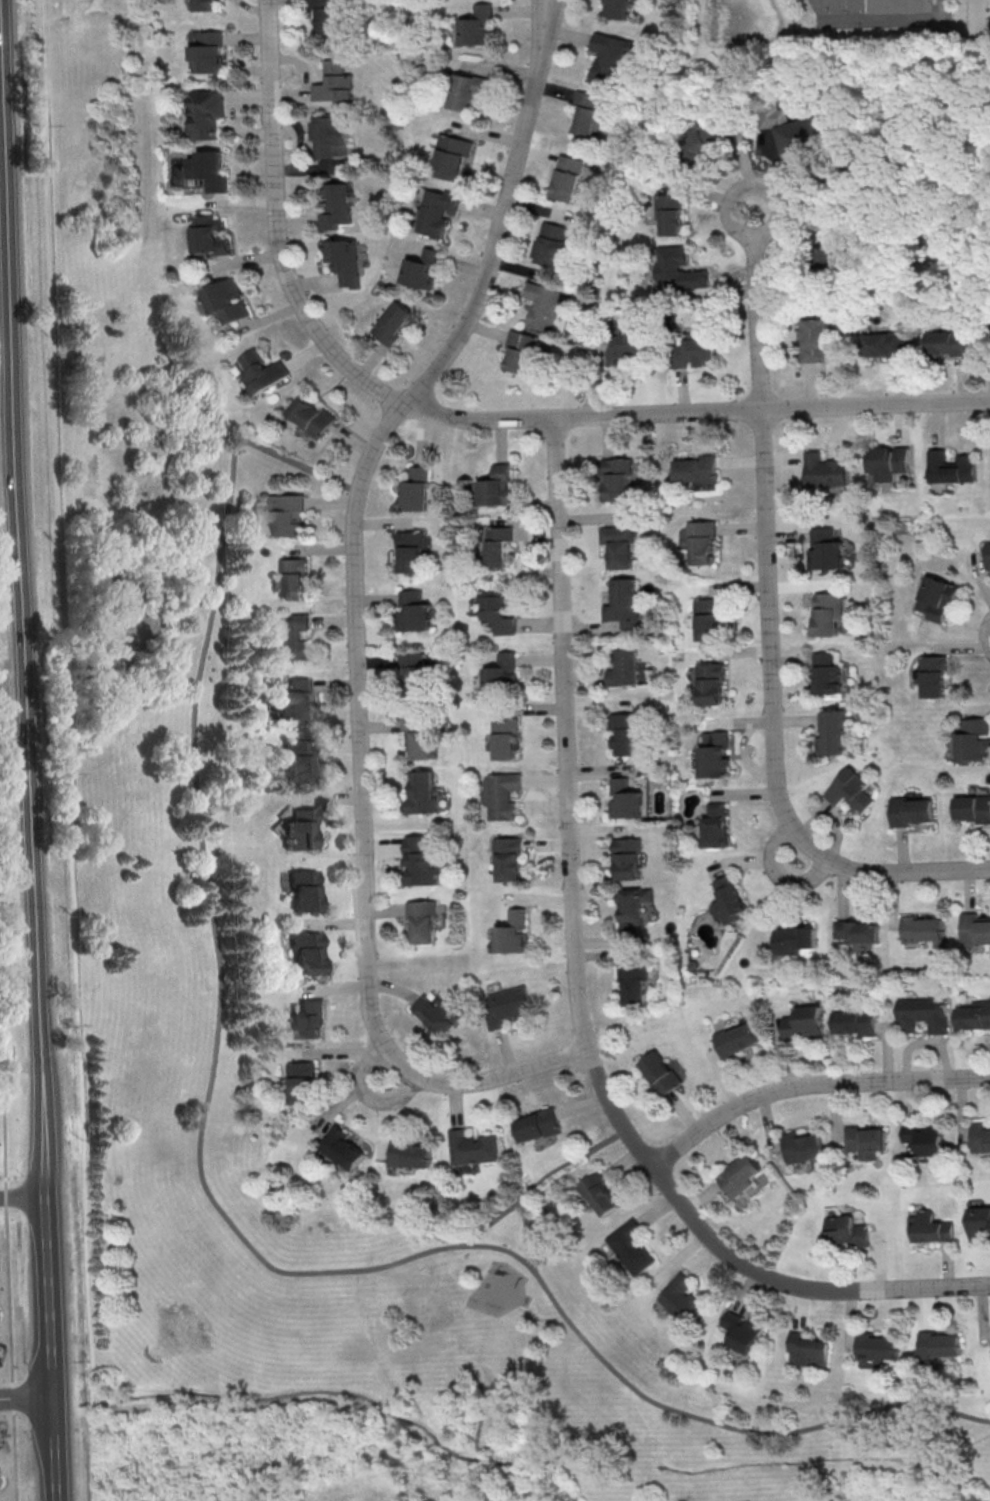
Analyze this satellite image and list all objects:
building: (210, 6)
building: (618, 8)
building: (905, 8)
road: (544, 14)
road: (551, 14)
building: (329, 15)
building: (478, 26)
building: (211, 55)
building: (610, 59)
building: (336, 85)
building: (467, 92)
building: (208, 112)
building: (773, 115)
building: (592, 116)
building: (332, 137)
building: (803, 137)
building: (704, 139)
building: (452, 158)
building: (208, 170)
building: (570, 180)
building: (336, 204)
building: (436, 213)
building: (670, 215)
road: (277, 227)
building: (211, 235)
building: (553, 244)
building: (831, 259)
building: (341, 260)
building: (421, 268)
building: (678, 272)
building: (228, 300)
building: (547, 307)
road: (756, 310)
building: (391, 322)
building: (946, 342)
building: (815, 343)
building: (885, 344)
building: (625, 347)
building: (692, 350)
building: (521, 353)
building: (261, 371)
road: (695, 411)
building: (309, 416)
building: (888, 462)
building: (696, 469)
building: (951, 470)
building: (826, 473)
building: (617, 480)
building: (496, 486)
building: (414, 489)
building: (286, 518)
building: (701, 544)
building: (497, 548)
building: (620, 548)
building: (410, 552)
building: (825, 552)
building: (987, 557)
building: (293, 580)
building: (936, 599)
building: (624, 604)
building: (497, 610)
building: (413, 612)
building: (828, 615)
building: (709, 620)
road: (353, 624)
road: (987, 634)
building: (289, 640)
building: (625, 671)
building: (415, 674)
building: (827, 676)
building: (503, 677)
building: (933, 677)
building: (711, 685)
building: (295, 702)
park: (147, 704)
road: (771, 727)
building: (628, 735)
building: (833, 735)
building: (420, 737)
building: (506, 741)
building: (973, 741)
road: (28, 750)
road: (71, 750)
building: (714, 754)
building: (299, 762)
building: (849, 792)
building: (422, 795)
building: (503, 798)
building: (626, 802)
building: (973, 811)
building: (909, 813)
building: (716, 828)
building: (300, 831)
road: (0, 835)
building: (508, 860)
building: (629, 861)
building: (422, 865)
road: (778, 873)
building: (304, 890)
building: (727, 900)
building: (633, 912)
building: (423, 923)
building: (857, 930)
building: (921, 931)
building: (974, 931)
building: (513, 935)
building: (793, 939)
building: (306, 955)
building: (633, 985)
road: (574, 993)
building: (508, 1008)
building: (922, 1013)
building: (437, 1014)
building: (974, 1015)
building: (308, 1022)
building: (803, 1022)
building: (855, 1022)
building: (736, 1039)
building: (660, 1072)
building: (303, 1085)
road: (810, 1085)
road: (364, 1091)
building: (537, 1124)
building: (980, 1136)
building: (925, 1138)
building: (866, 1140)
building: (800, 1146)
building: (470, 1148)
building: (408, 1154)
building: (739, 1175)
road: (538, 1183)
building: (600, 1194)
road: (21, 1197)
road: (211, 1197)
building: (980, 1223)
building: (930, 1227)
building: (846, 1230)
road: (528, 1239)
road: (6, 1244)
building: (631, 1247)
building: (681, 1299)
building: (742, 1331)
building: (936, 1343)
building: (875, 1347)
building: (807, 1349)
road: (25, 1396)

